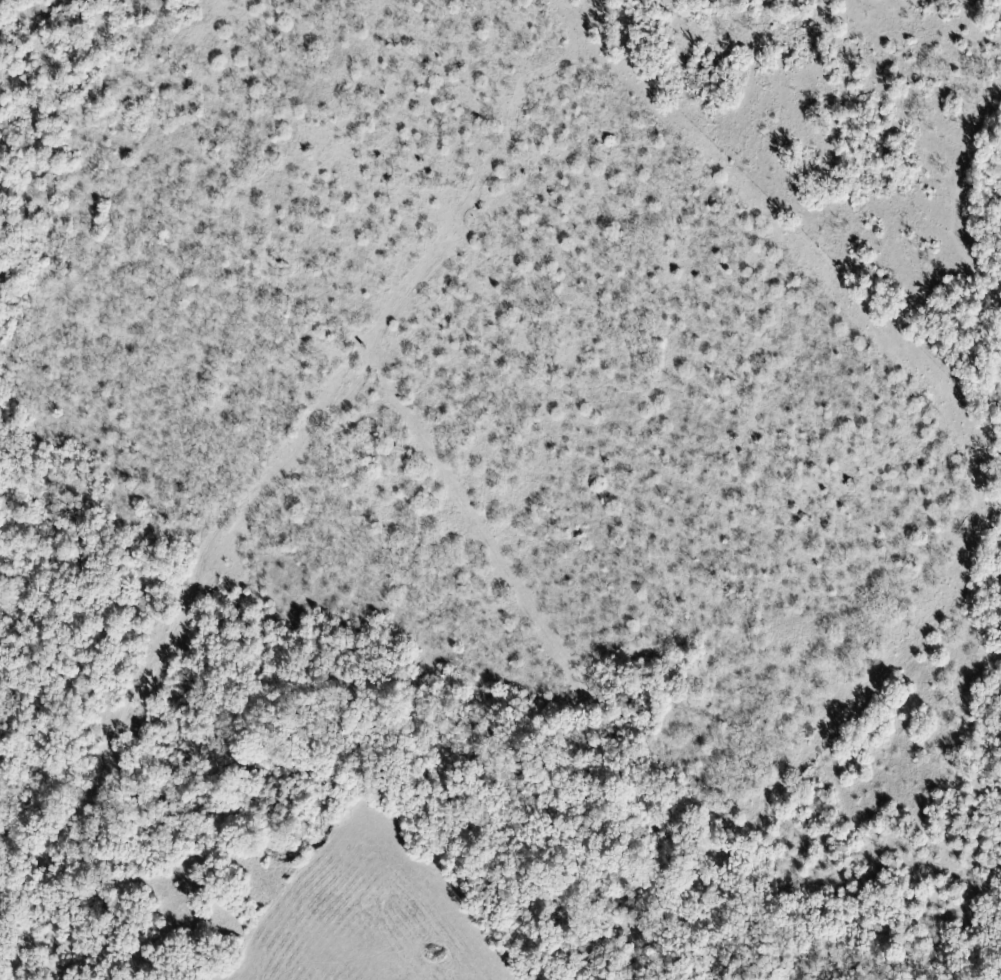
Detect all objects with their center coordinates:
road: (130, 774)

